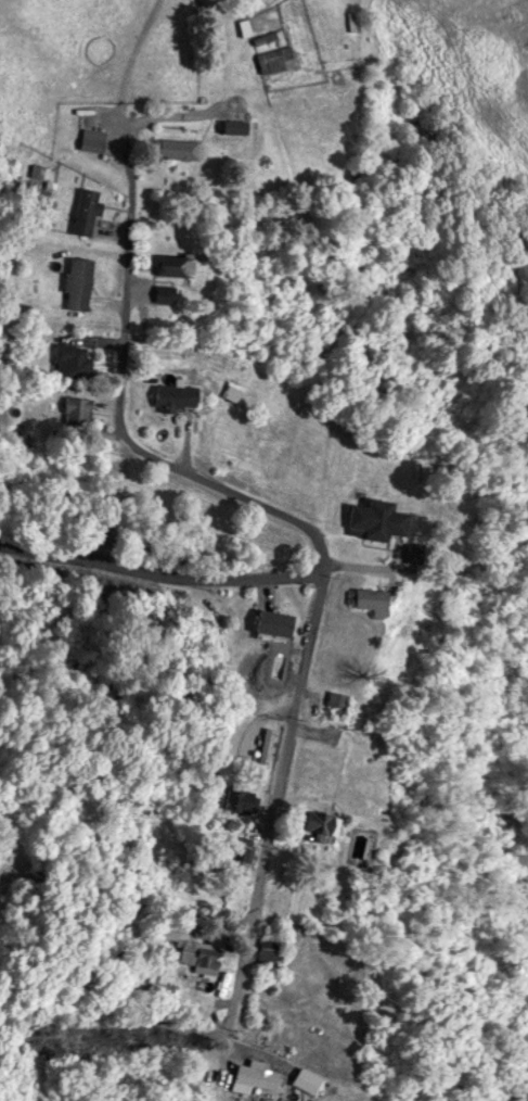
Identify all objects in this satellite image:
building: (262, 40)
building: (270, 60)
building: (231, 128)
building: (86, 140)
building: (175, 150)
building: (83, 211)
building: (169, 264)
building: (77, 282)
building: (163, 292)
building: (72, 358)
building: (230, 390)
building: (170, 396)
building: (75, 409)
building: (373, 519)
road: (256, 595)
building: (369, 599)
building: (272, 622)
building: (335, 700)
road: (272, 703)
building: (266, 745)
building: (239, 800)
building: (319, 824)
building: (235, 853)
road: (106, 889)
building: (267, 950)
building: (205, 957)
building: (253, 1076)
building: (302, 1079)

